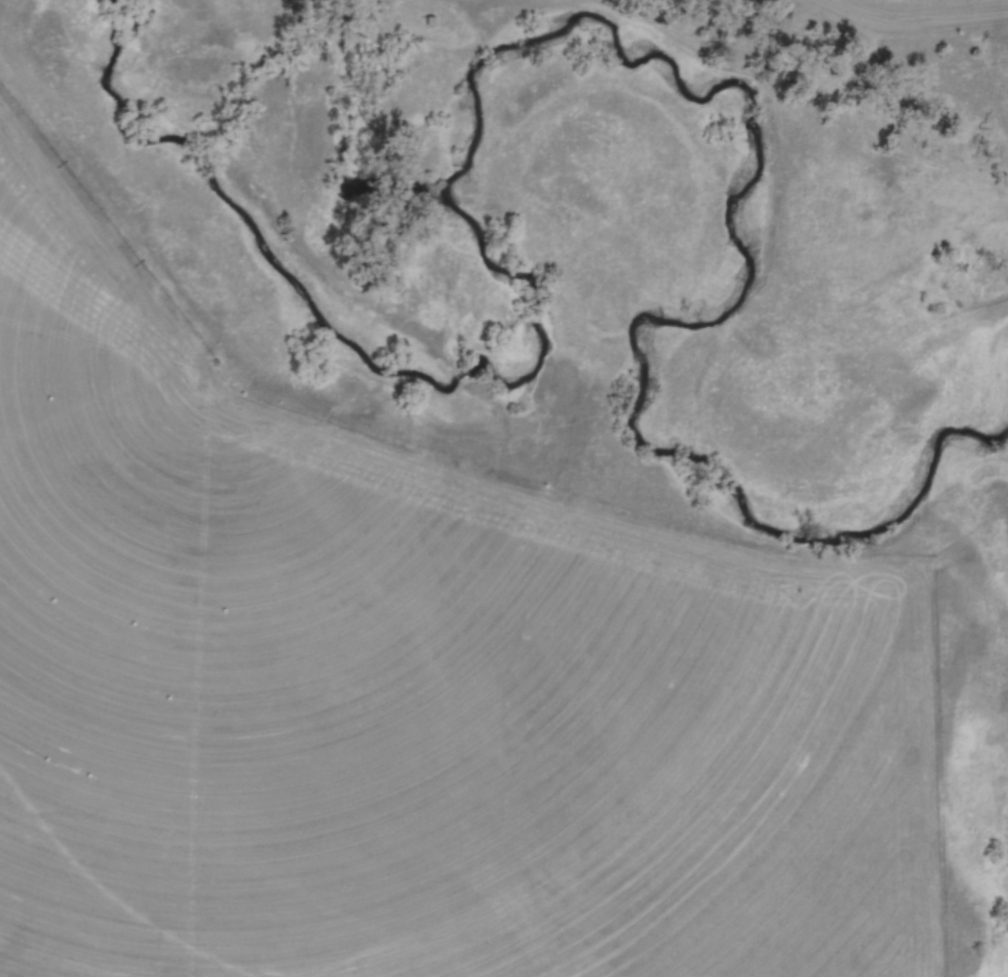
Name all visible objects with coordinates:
crop: (909, 12)
crop: (409, 684)

